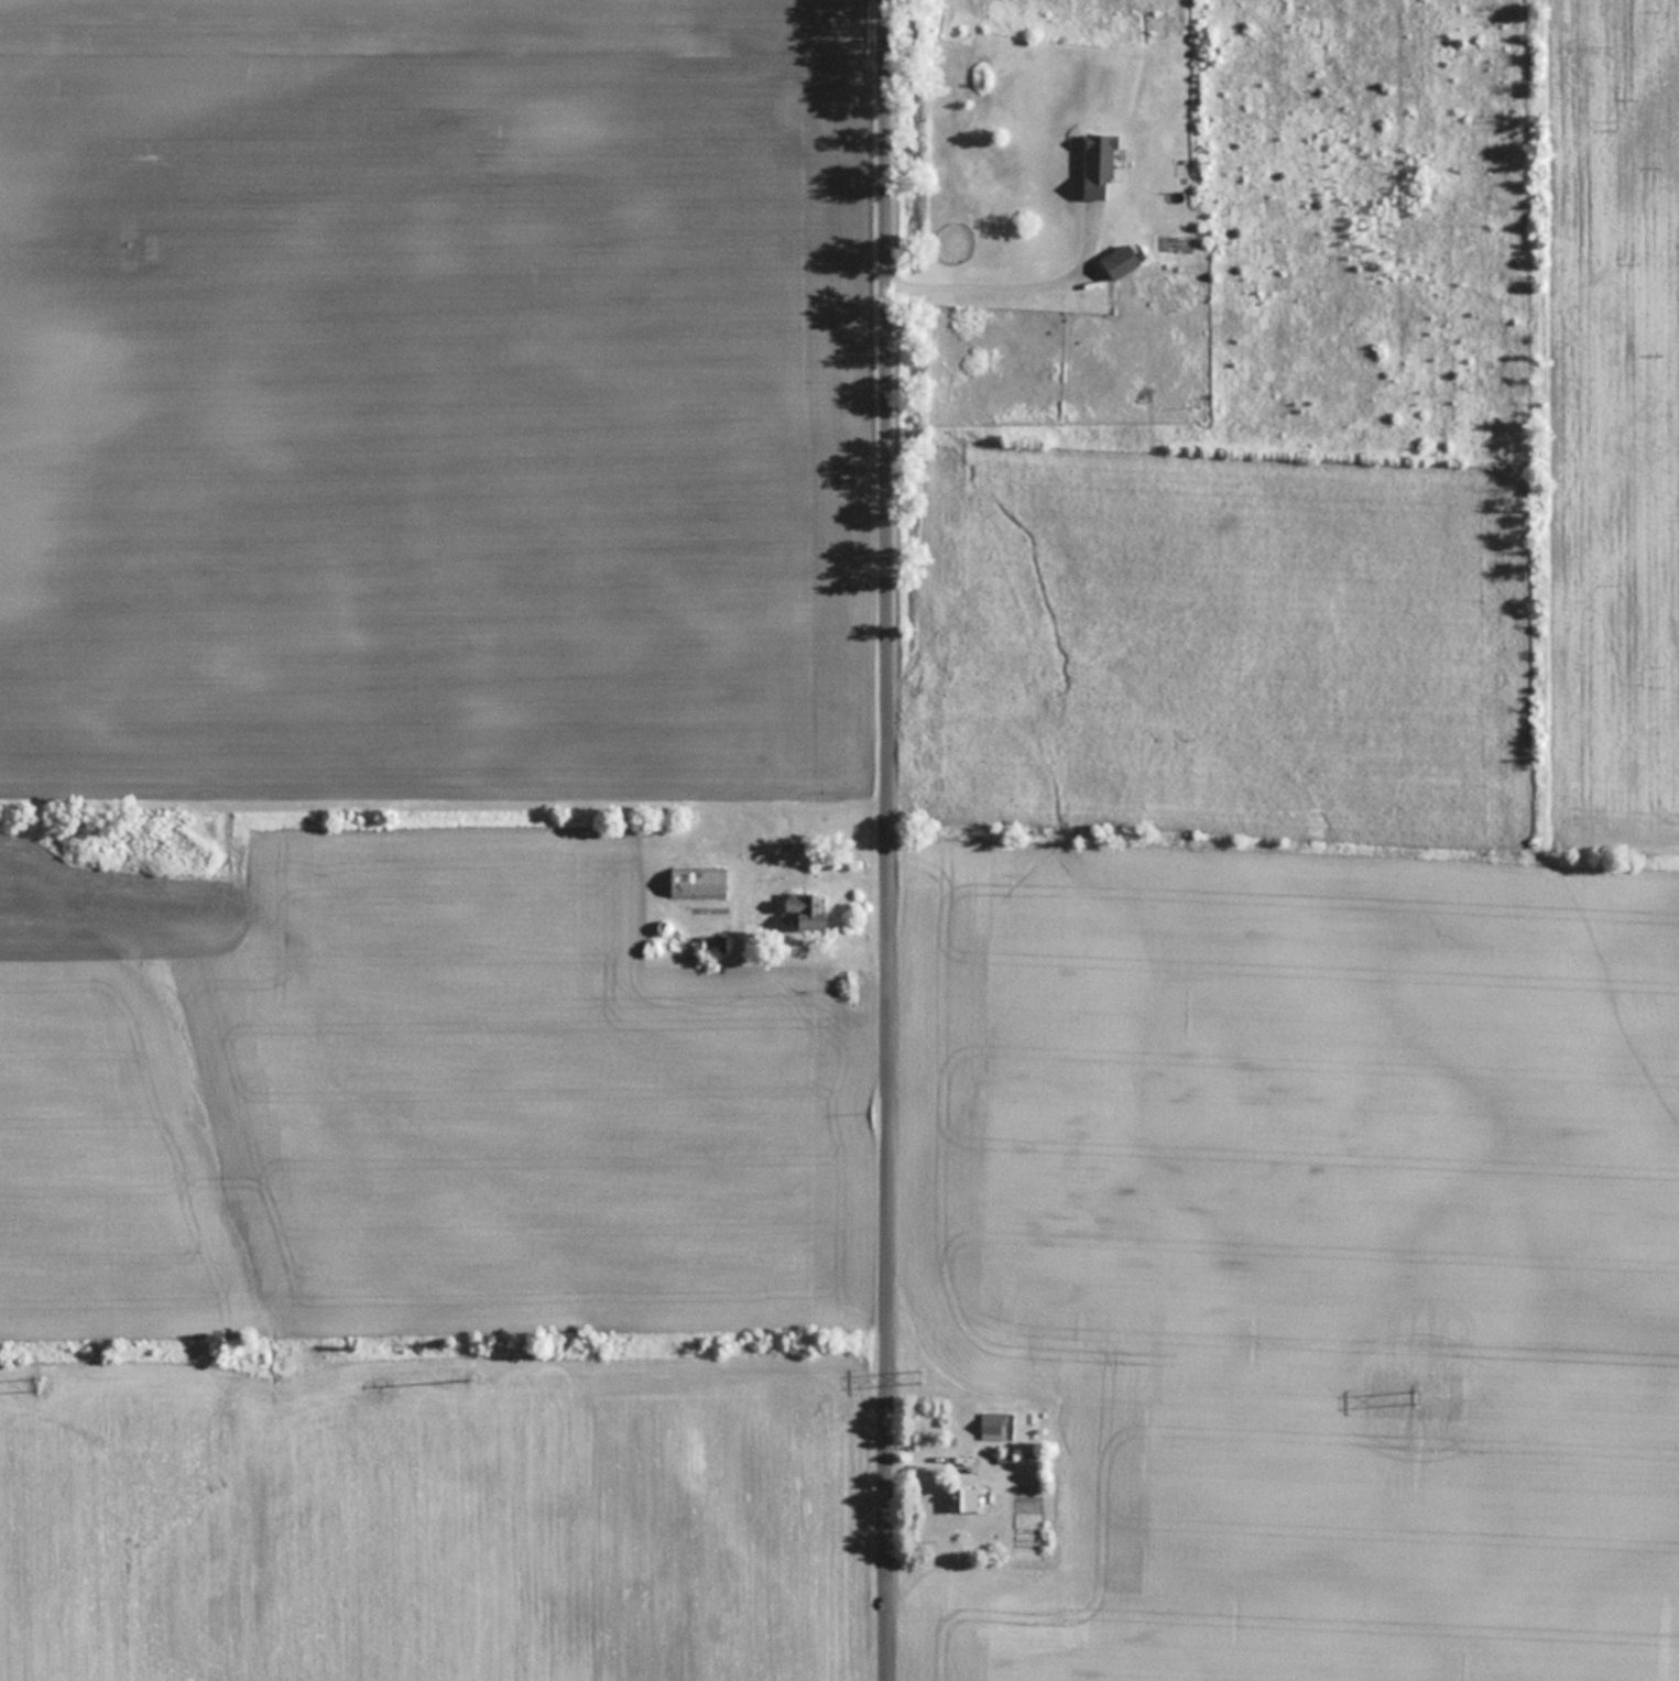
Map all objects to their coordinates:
building: (1099, 165)
building: (1122, 260)
road: (1006, 271)
road: (892, 840)
building: (699, 882)
building: (807, 908)
building: (712, 942)
power tower: (473, 1377)
power tower: (926, 1378)
power tower: (40, 1379)
power tower: (1418, 1394)
building: (996, 1425)
building: (966, 1463)
building: (969, 1497)

